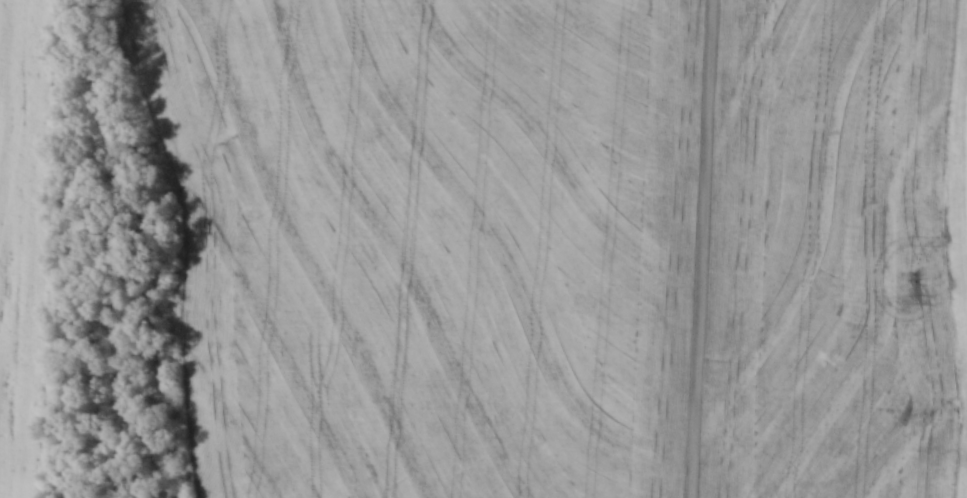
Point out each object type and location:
road: (706, 249)

